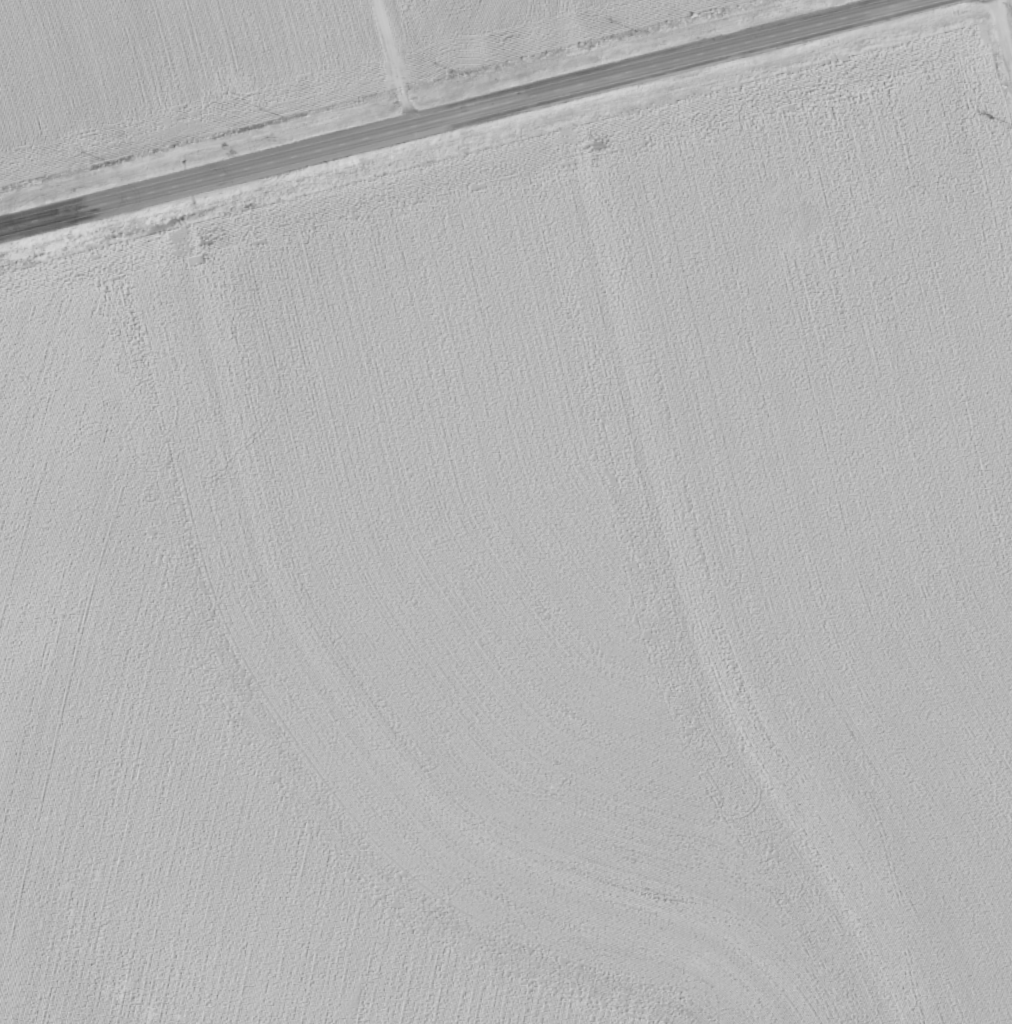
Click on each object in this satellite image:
road: (1004, 30)
road: (391, 63)
road: (459, 114)

